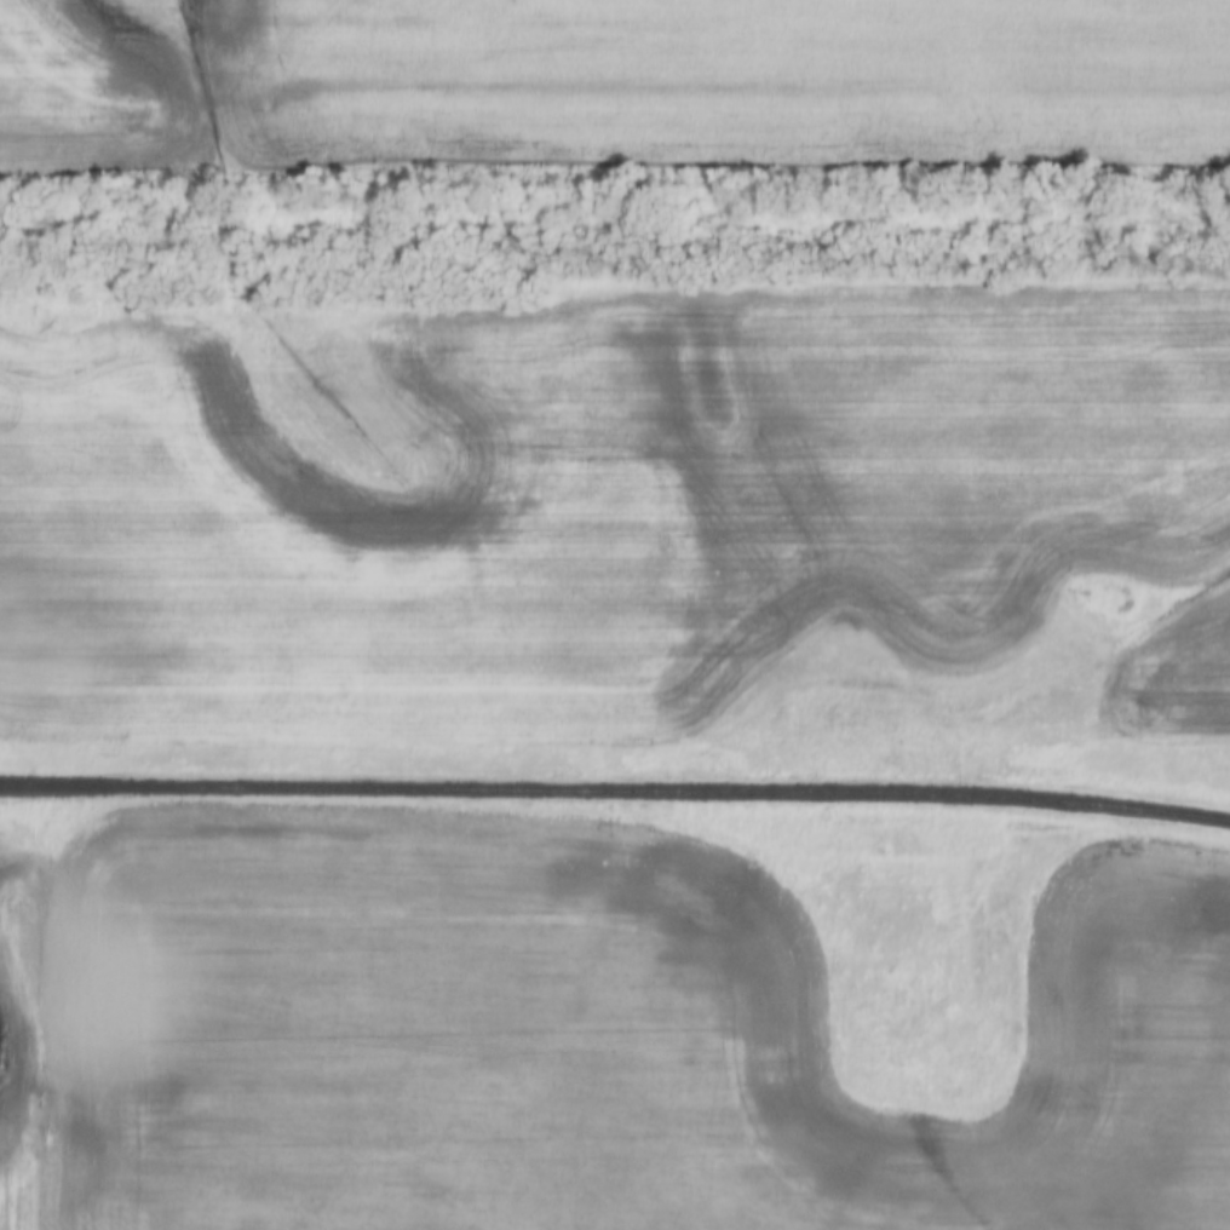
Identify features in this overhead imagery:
railway: (615, 792)

